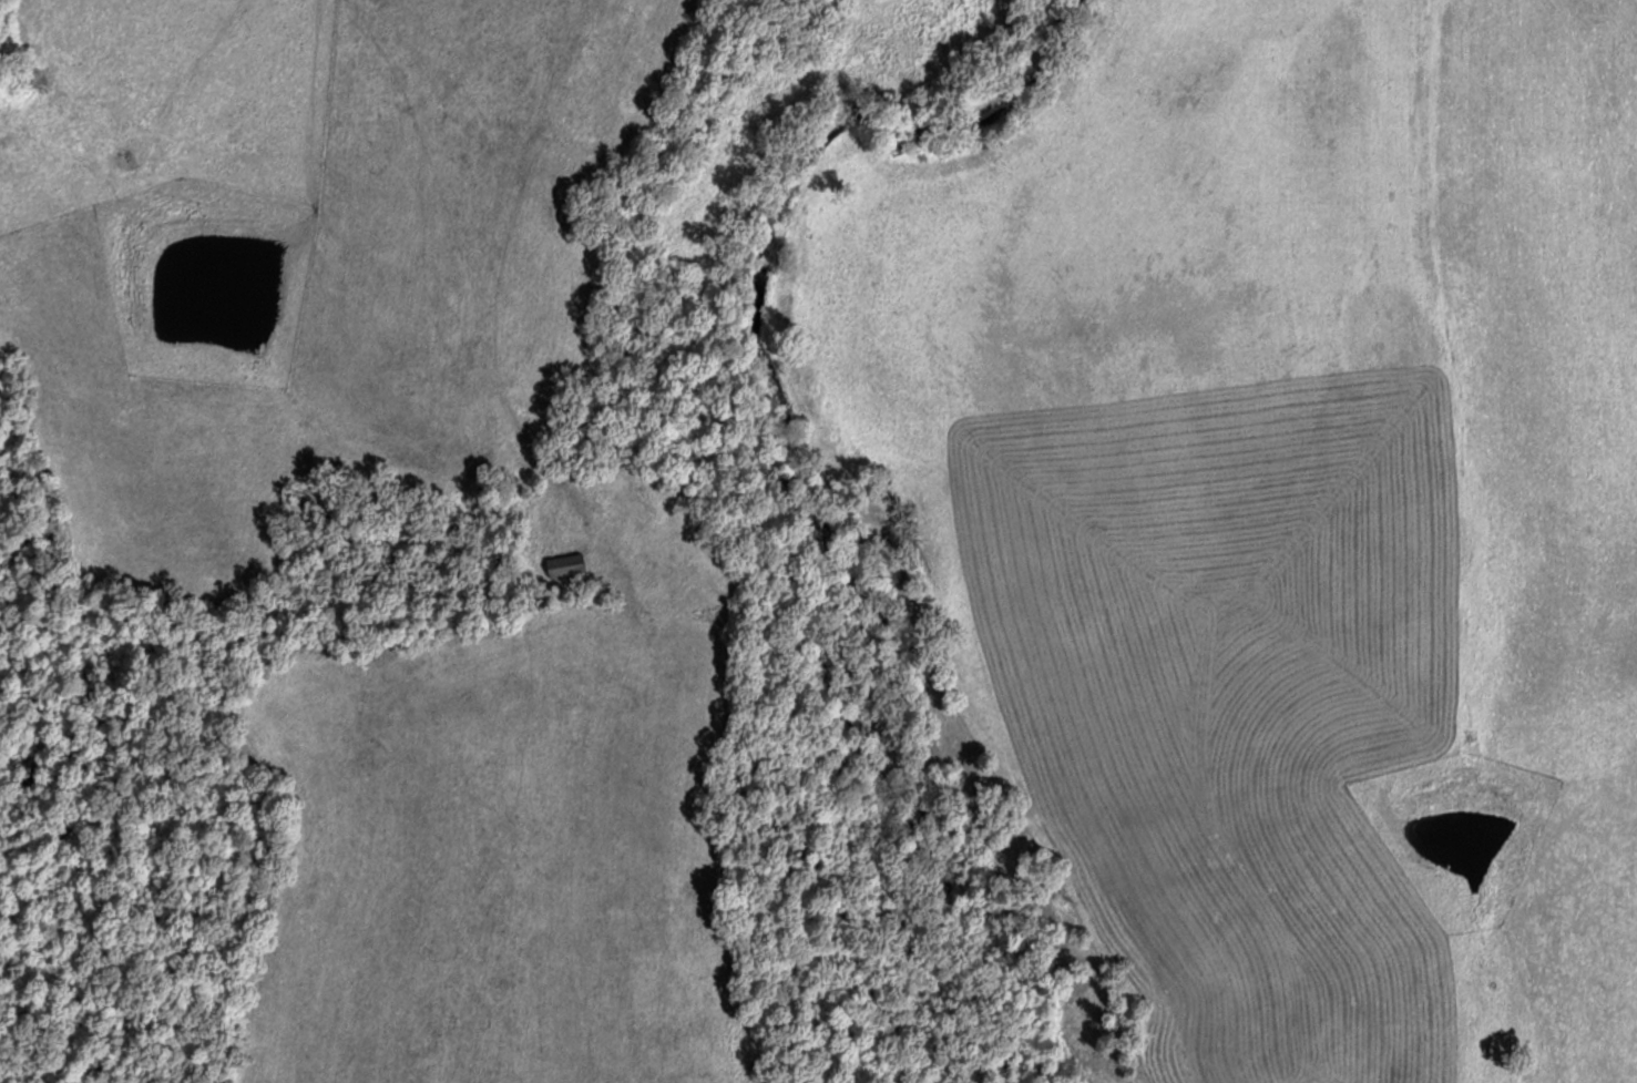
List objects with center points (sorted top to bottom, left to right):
building: (561, 565)

